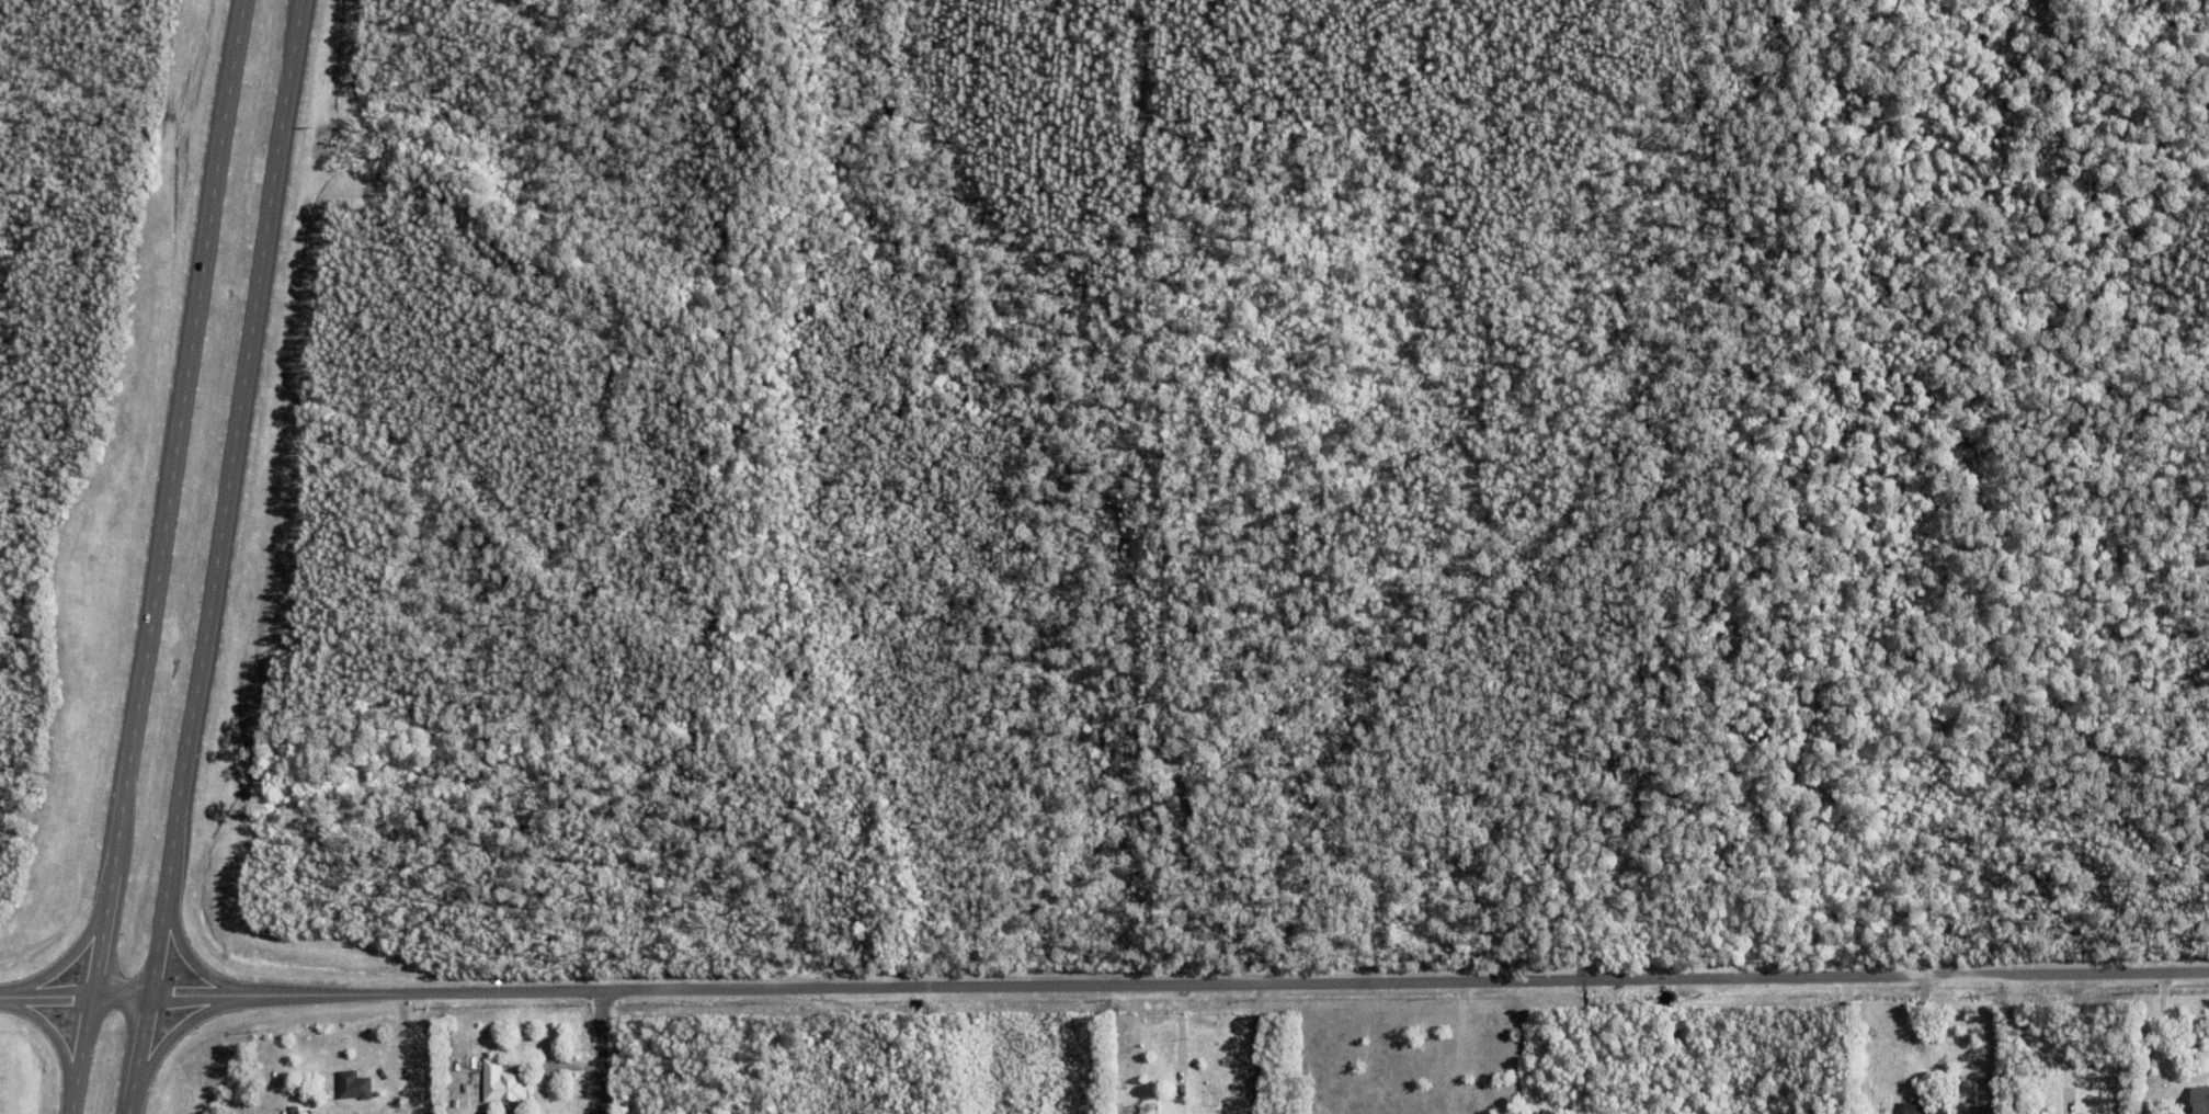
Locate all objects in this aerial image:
road: (1153, 511)
road: (158, 556)
road: (220, 557)
road: (1104, 985)
road: (2162, 1043)
road: (2032, 1044)
road: (409, 1053)
road: (593, 1053)
building: (502, 1087)
building: (354, 1088)
building: (2200, 1101)
building: (1924, 1107)

